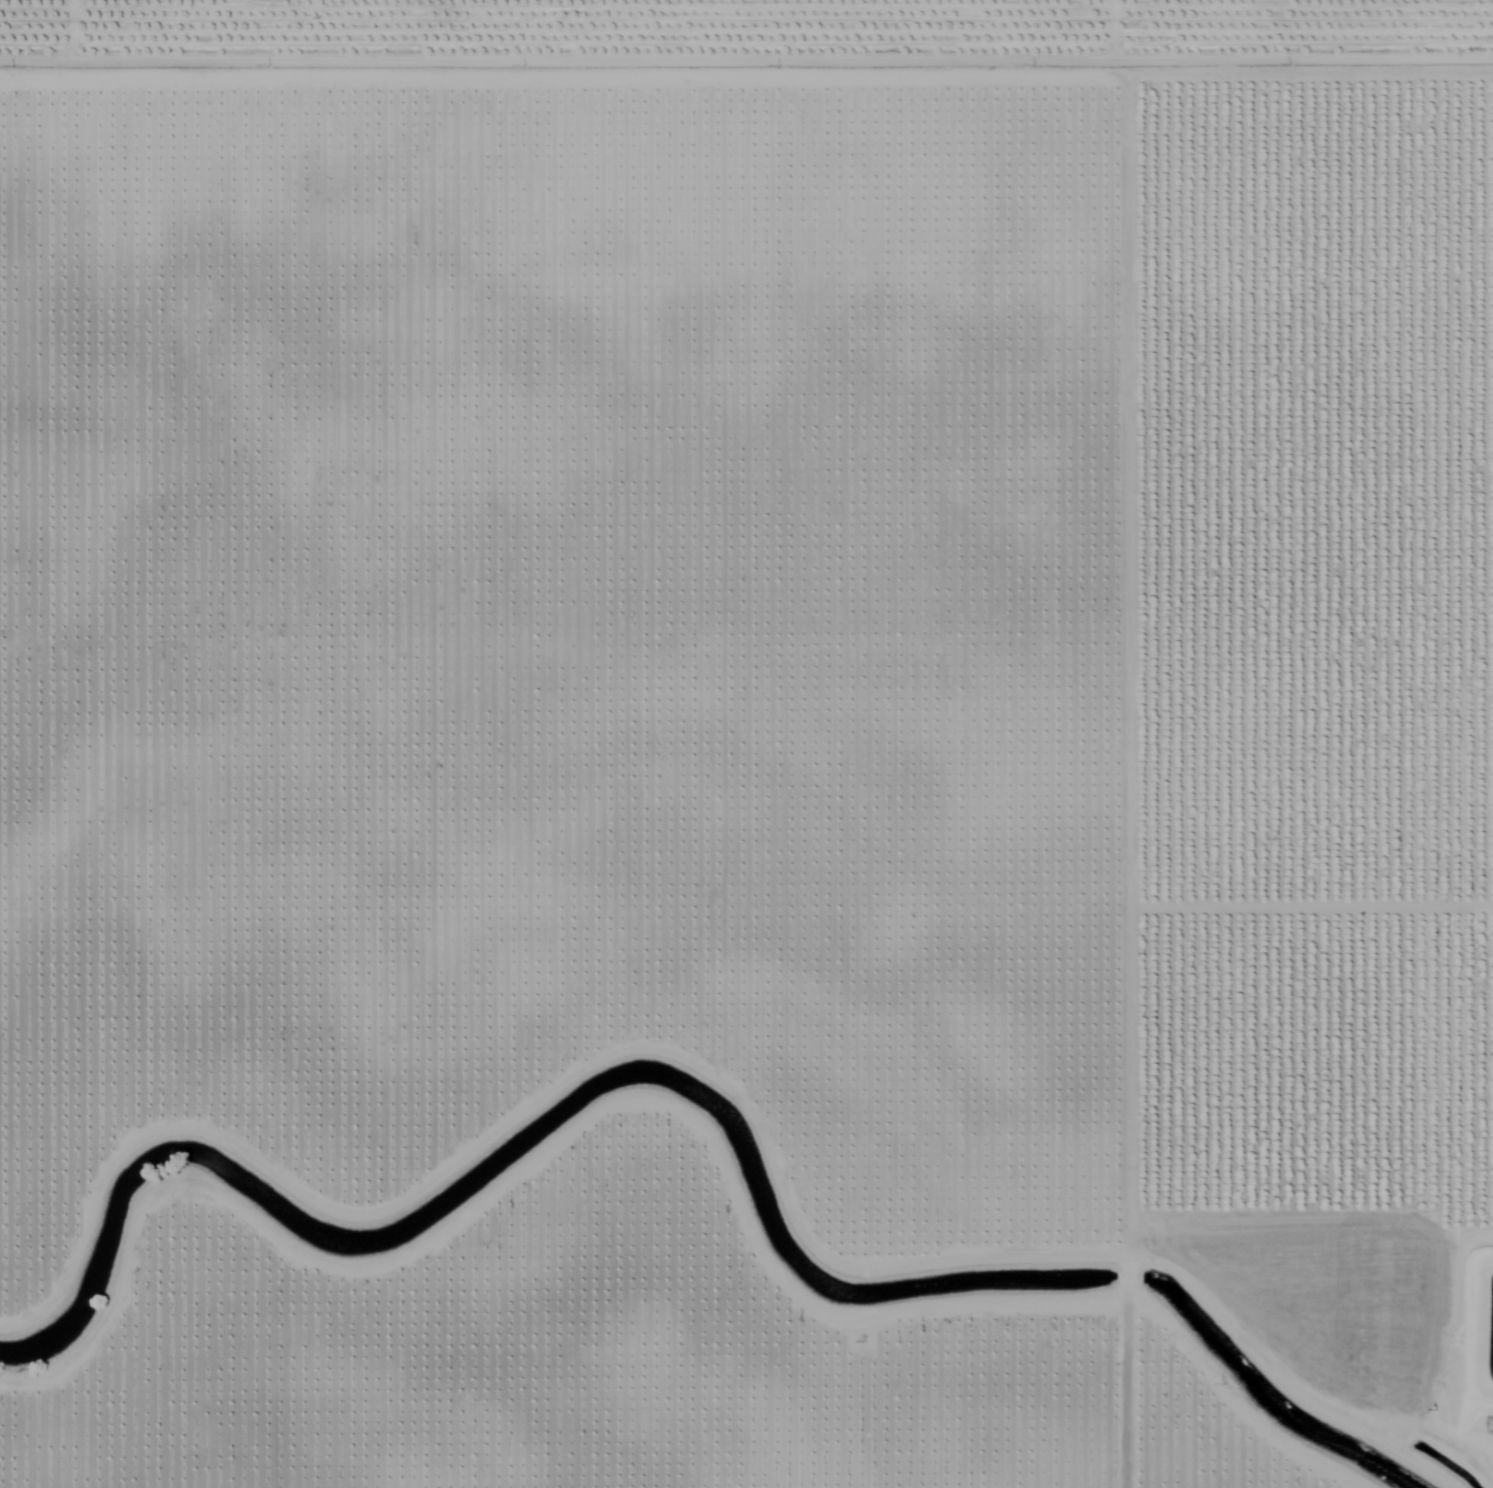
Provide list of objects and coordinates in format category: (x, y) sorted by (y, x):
road: (1115, 618)
crop: (746, 744)
road: (749, 1014)

